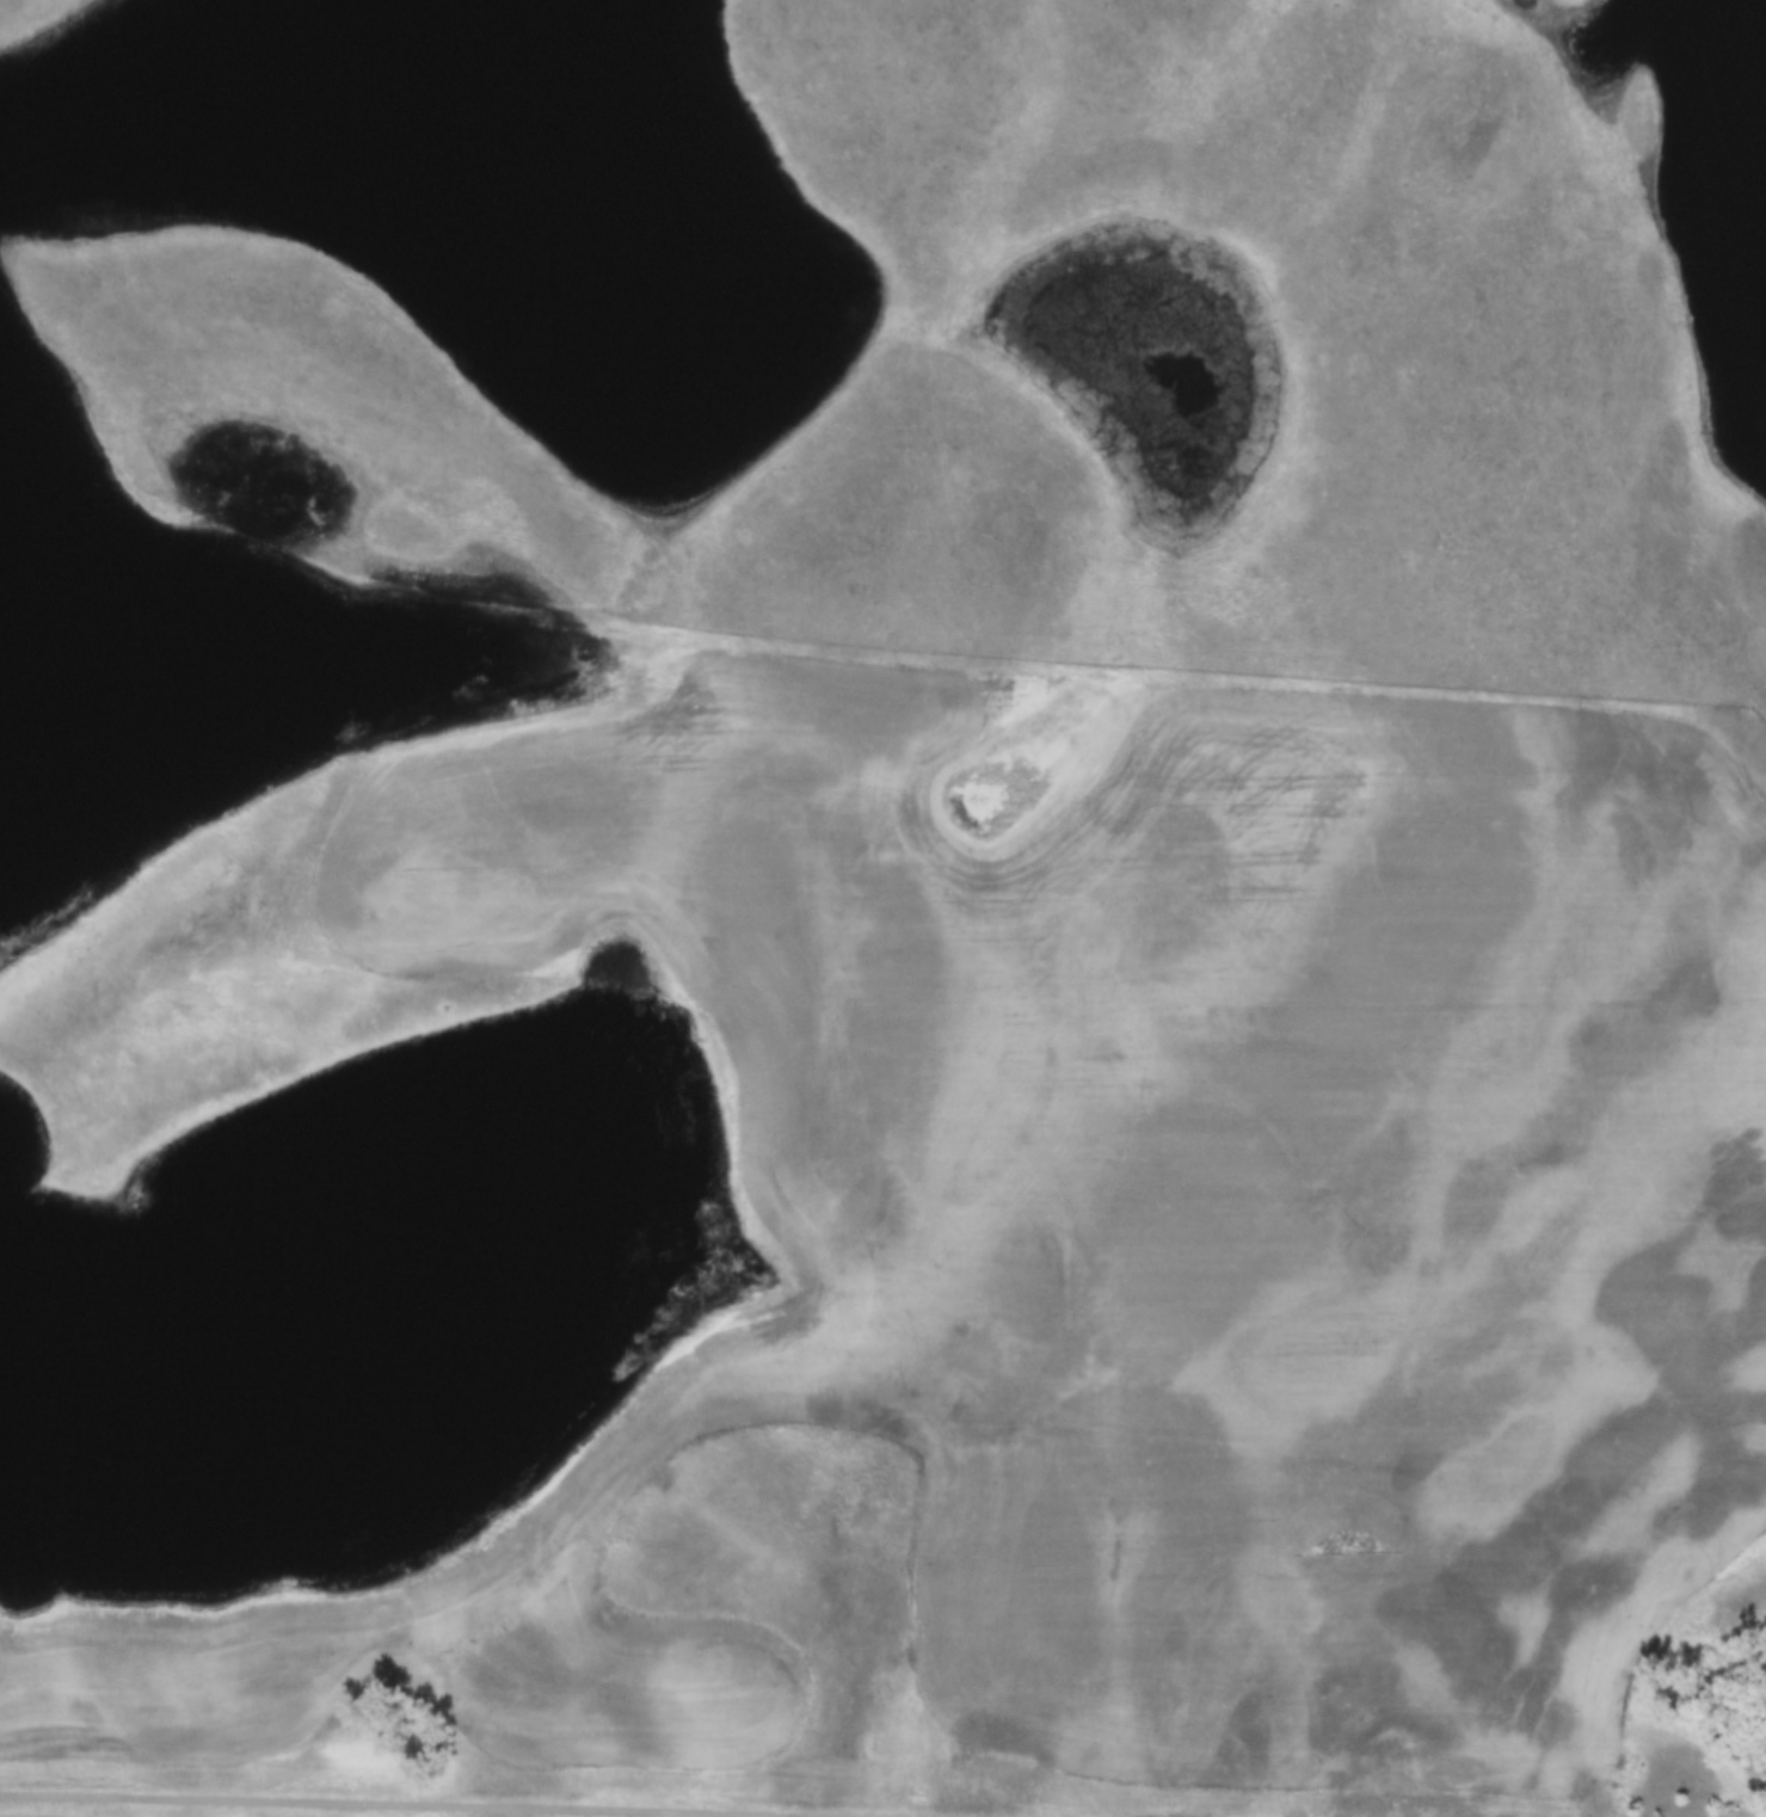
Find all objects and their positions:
road: (400, 1806)

